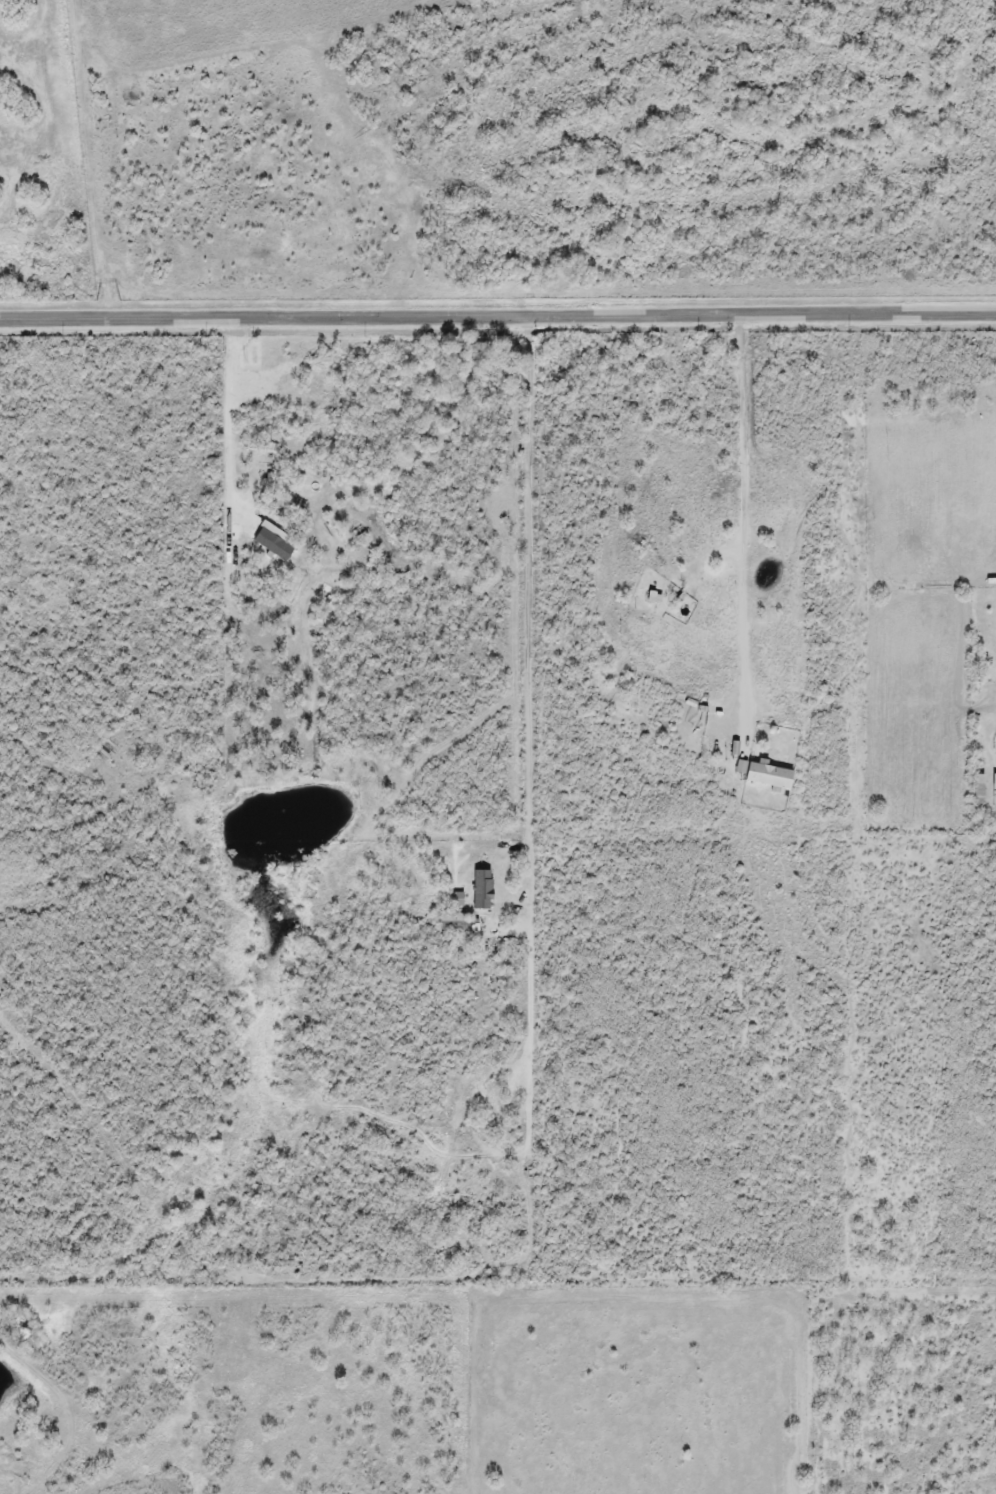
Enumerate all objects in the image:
road: (498, 315)
road: (228, 424)
road: (745, 520)
building: (273, 545)
road: (531, 734)

